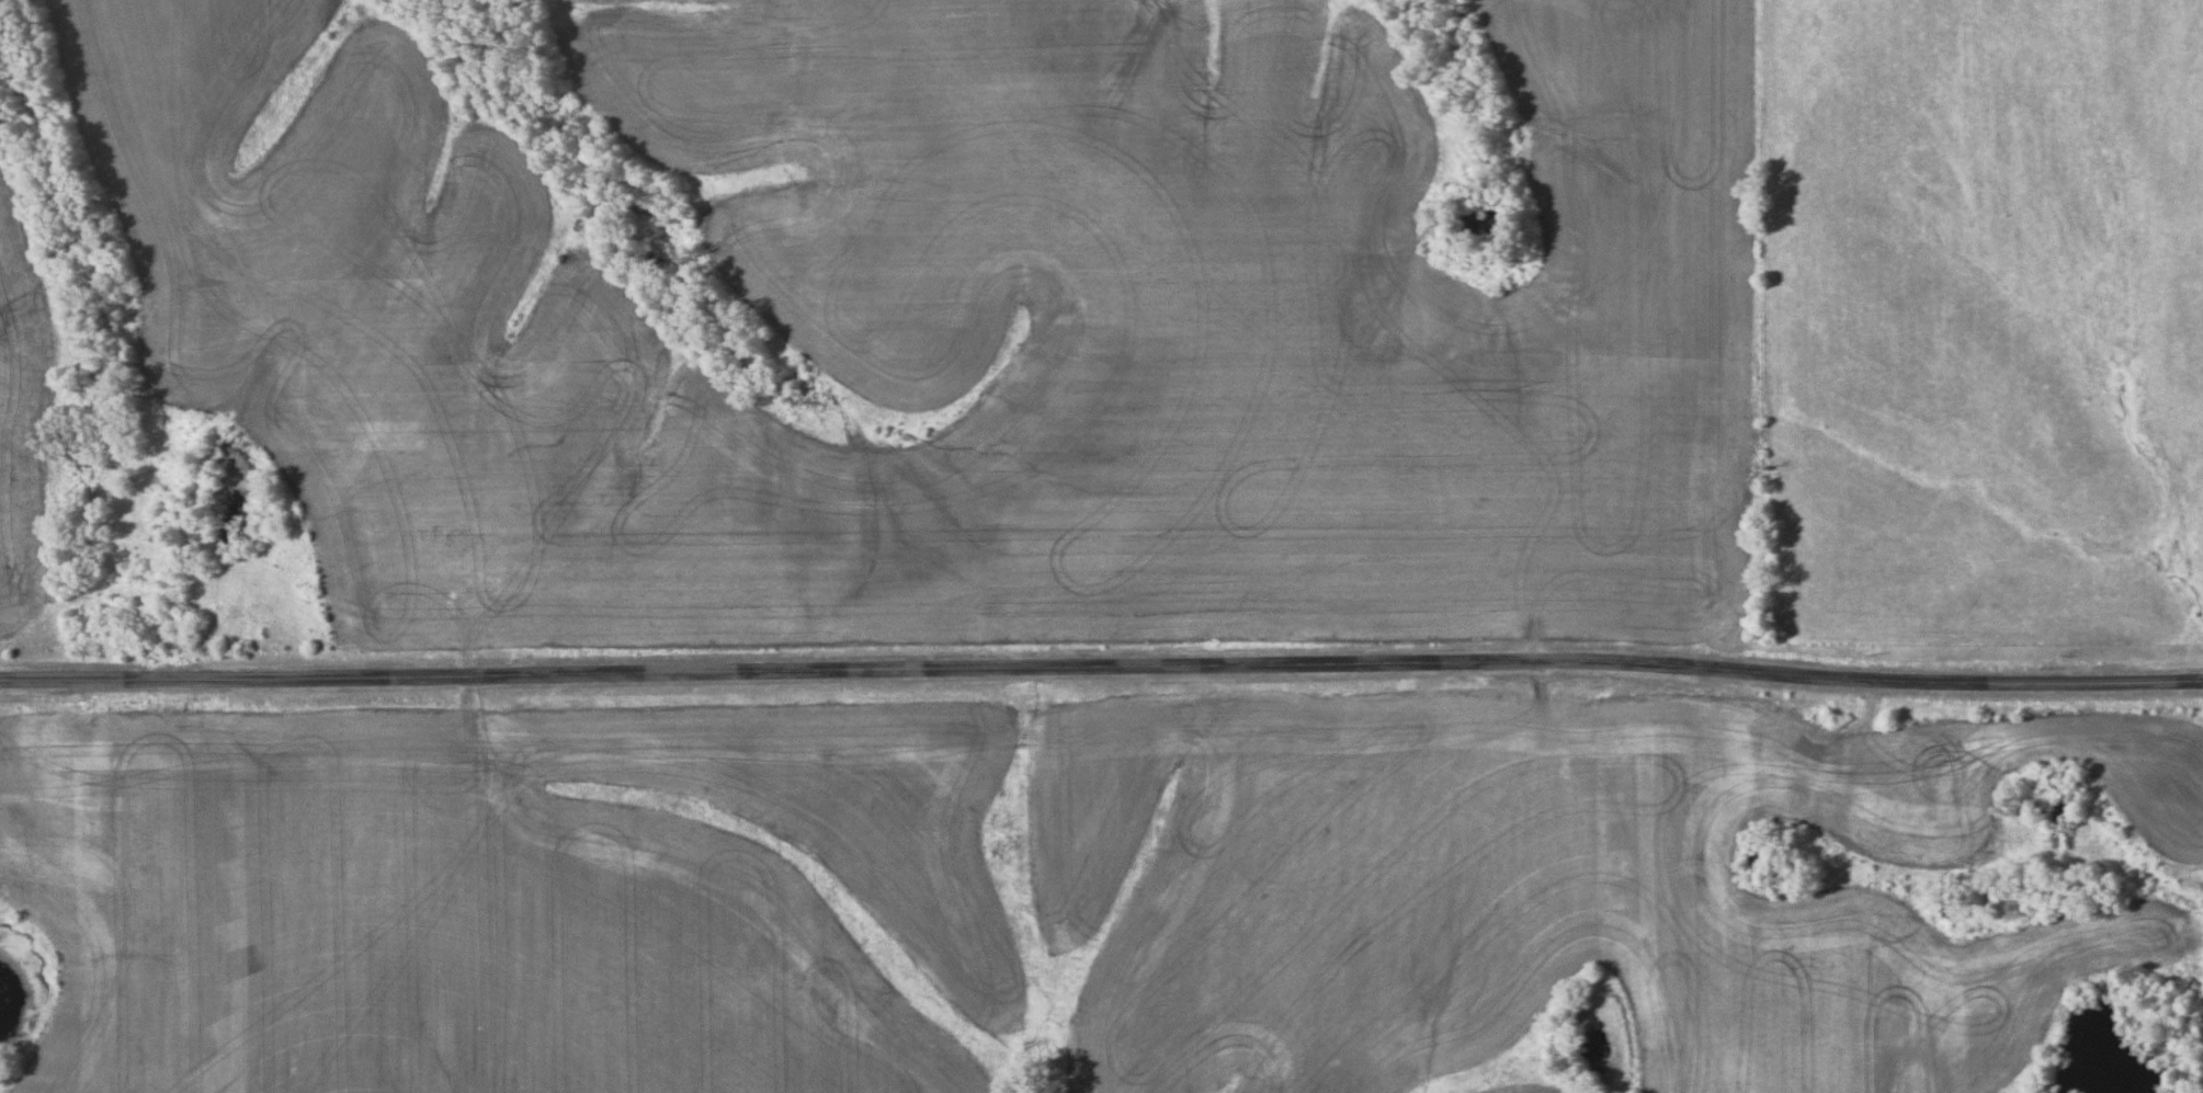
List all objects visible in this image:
building: (1, 597)
road: (1101, 664)

